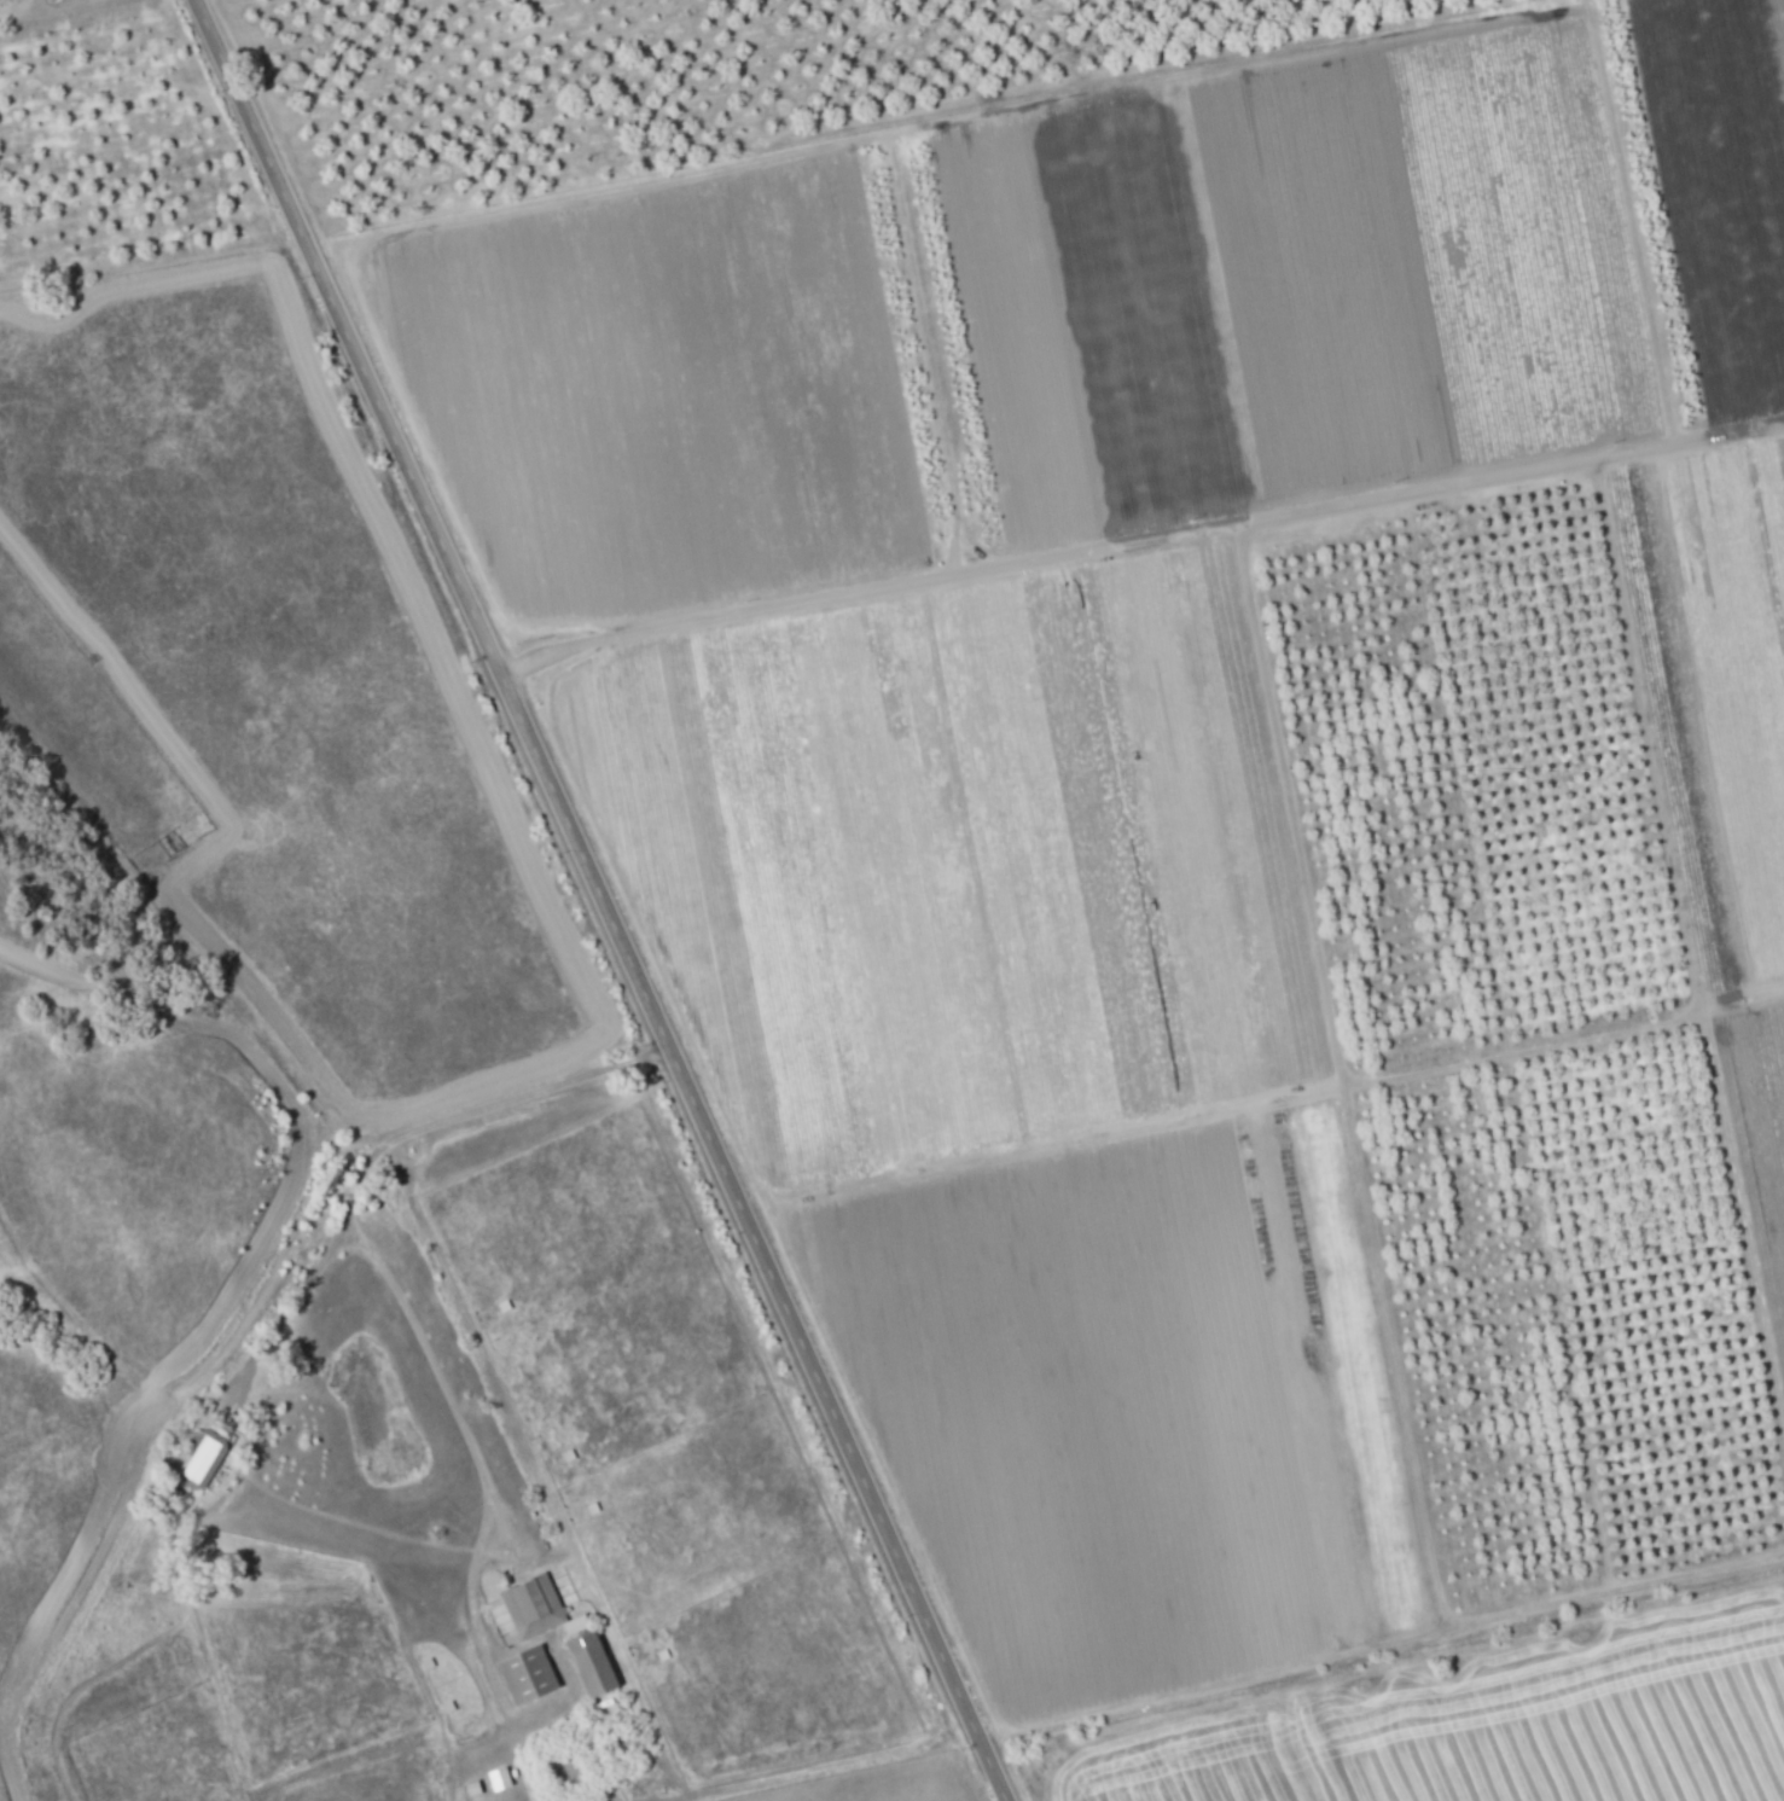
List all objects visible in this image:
road: (1141, 536)
road: (606, 899)
road: (388, 1137)
road: (458, 1411)
building: (201, 1457)
building: (533, 1604)
building: (593, 1661)
building: (529, 1673)

